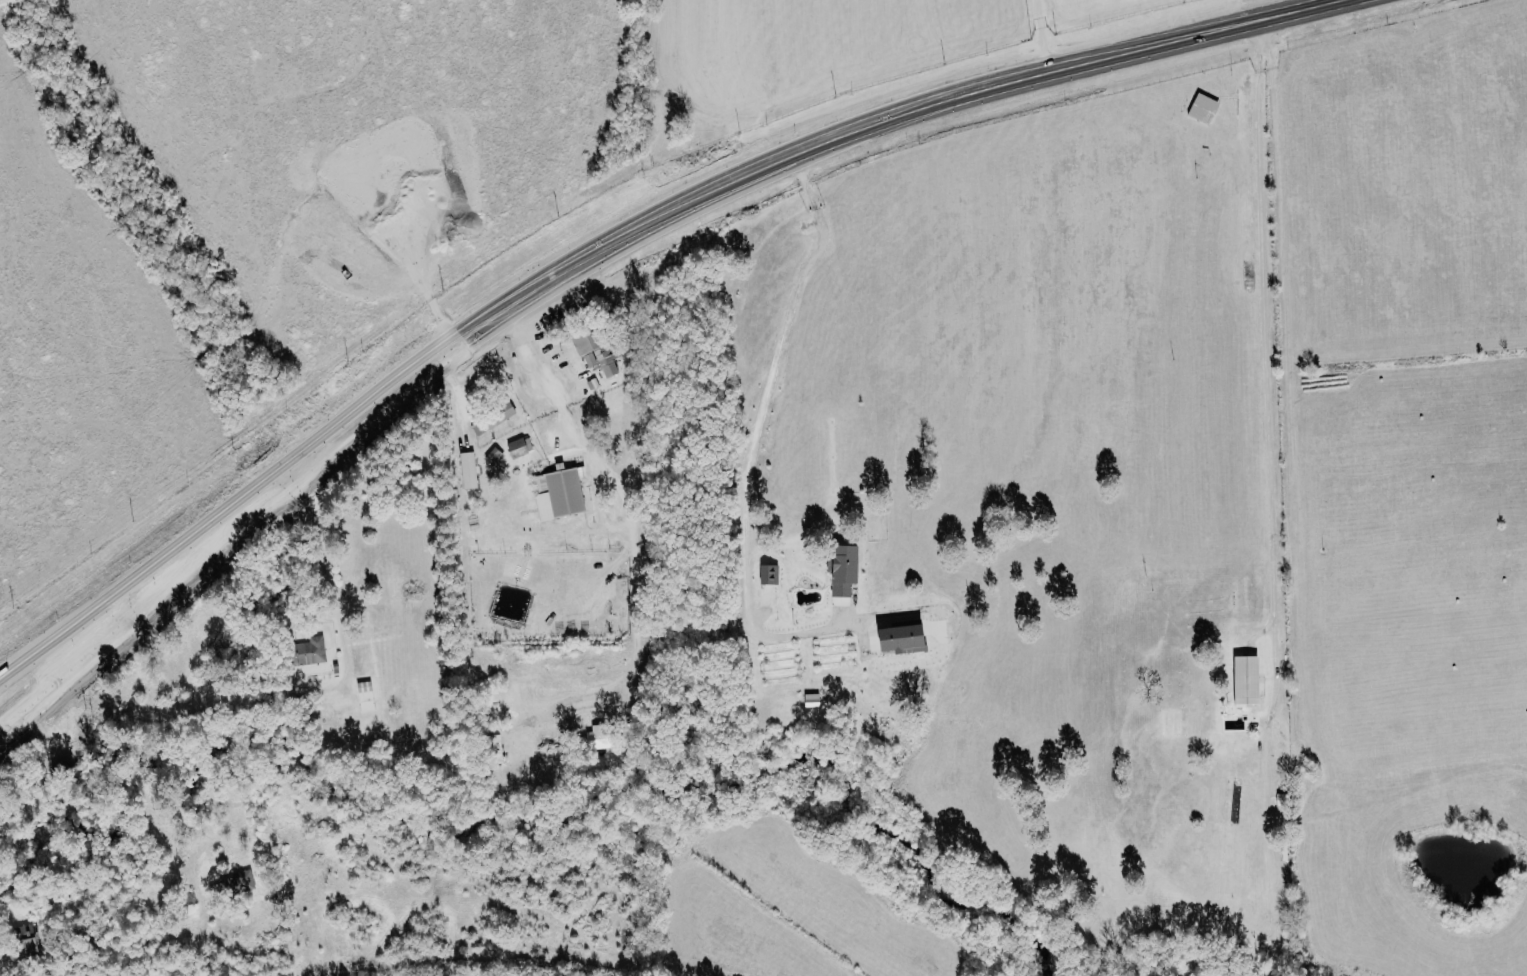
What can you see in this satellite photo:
road: (1040, 36)
building: (1203, 108)
road: (788, 159)
building: (592, 349)
road: (535, 377)
building: (592, 383)
building: (492, 417)
road: (756, 435)
building: (518, 446)
building: (494, 456)
building: (467, 469)
building: (557, 492)
building: (840, 568)
building: (767, 573)
road: (147, 574)
road: (148, 600)
building: (897, 637)
building: (306, 651)
building: (1244, 679)
building: (364, 695)
building: (237, 882)
building: (26, 938)

